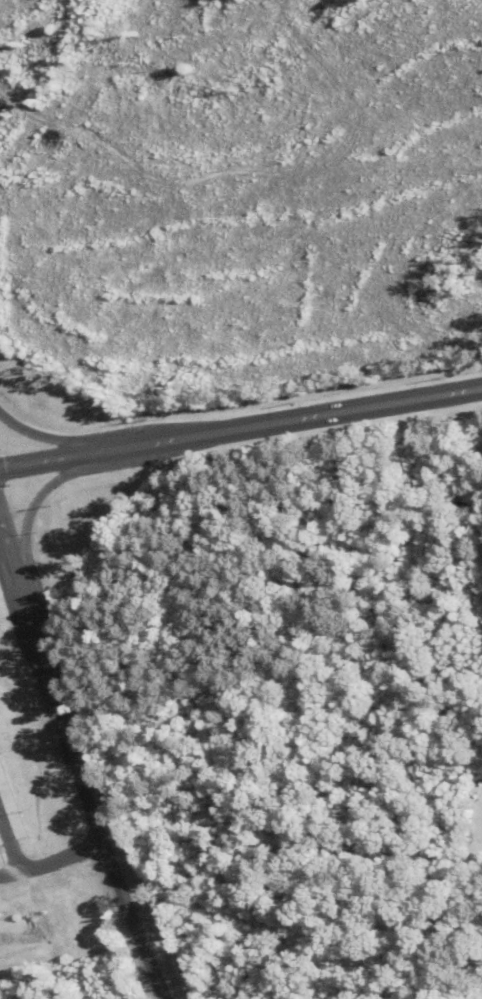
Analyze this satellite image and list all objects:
road: (240, 430)
road: (48, 439)
road: (39, 503)
road: (12, 574)
road: (75, 756)
road: (34, 869)

